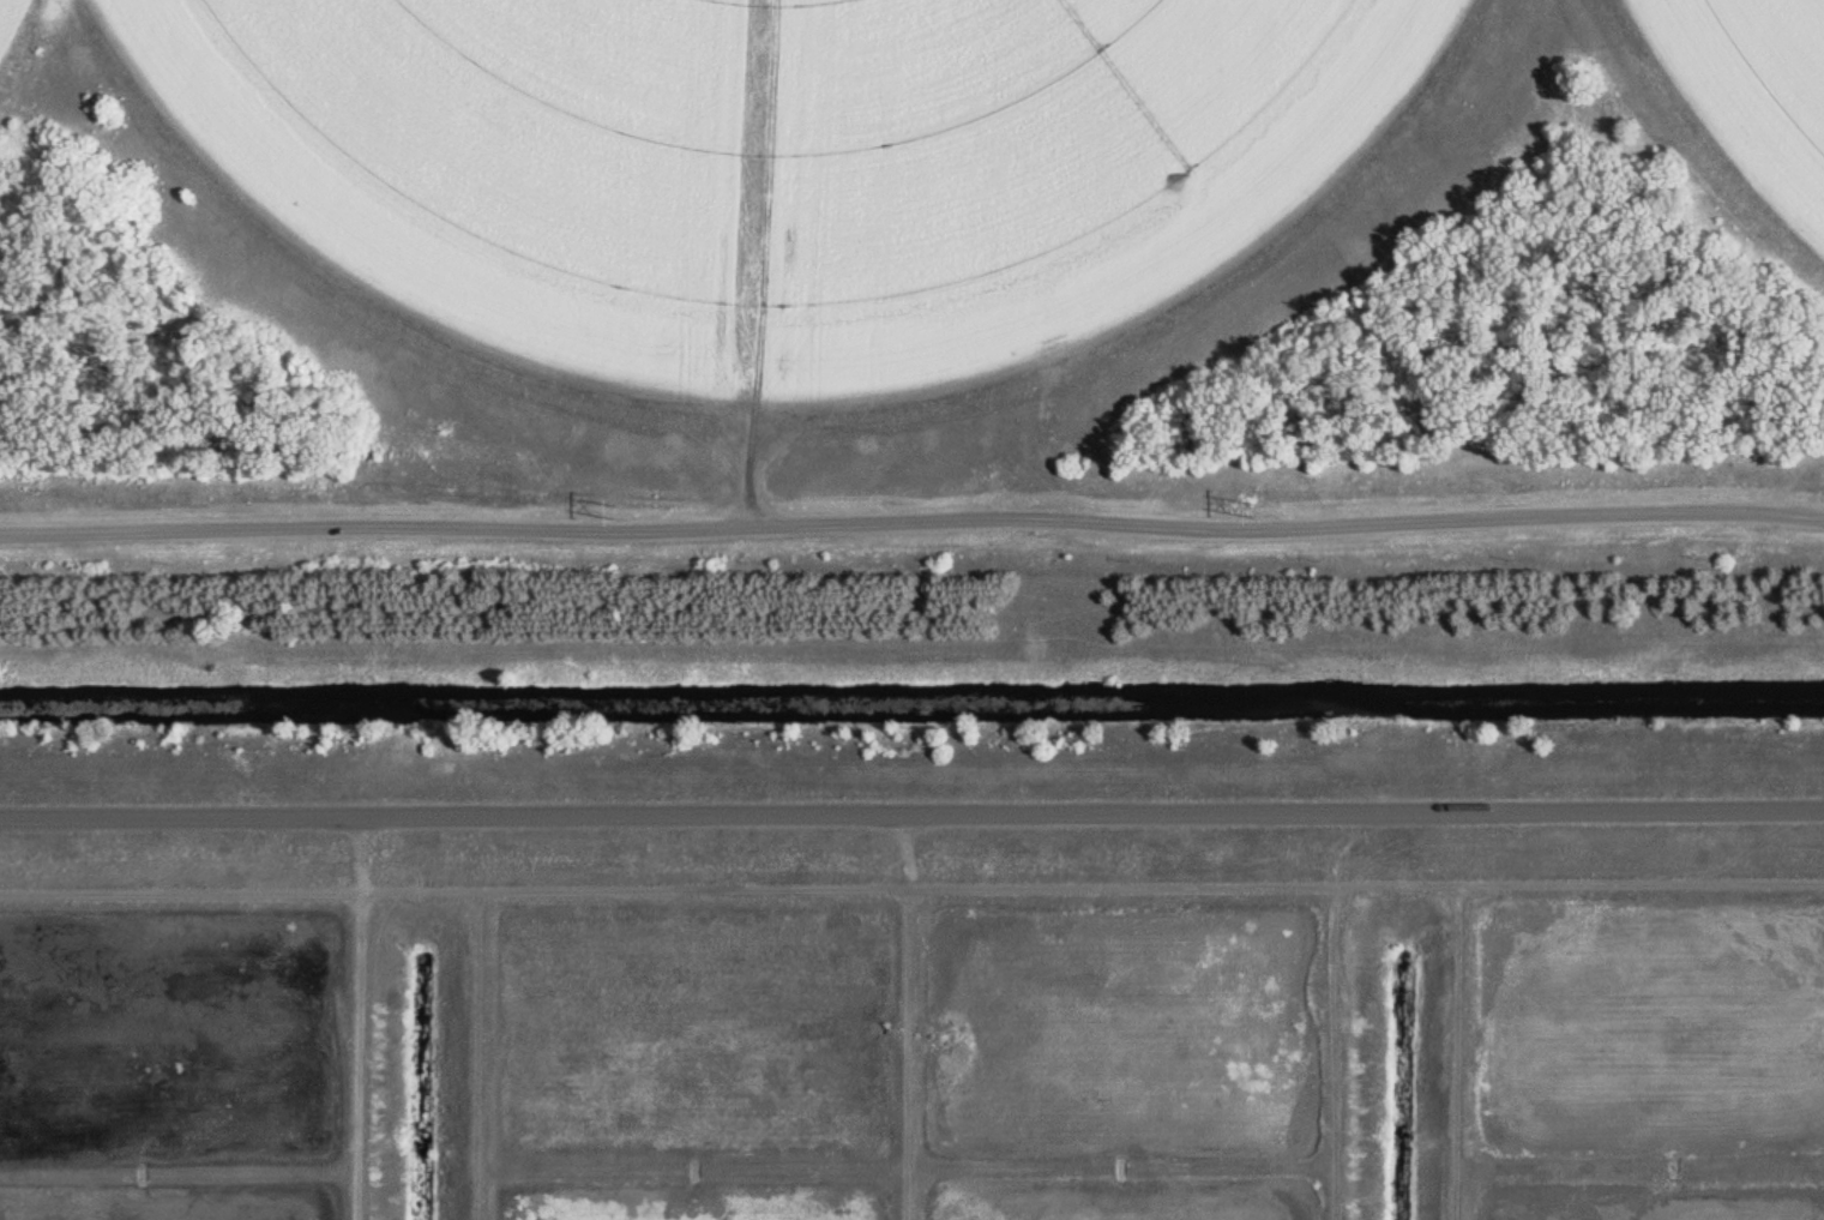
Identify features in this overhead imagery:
power tower: (621, 499)
power tower: (1258, 501)
wastewater plant: (911, 609)
road: (911, 807)
road: (911, 885)

